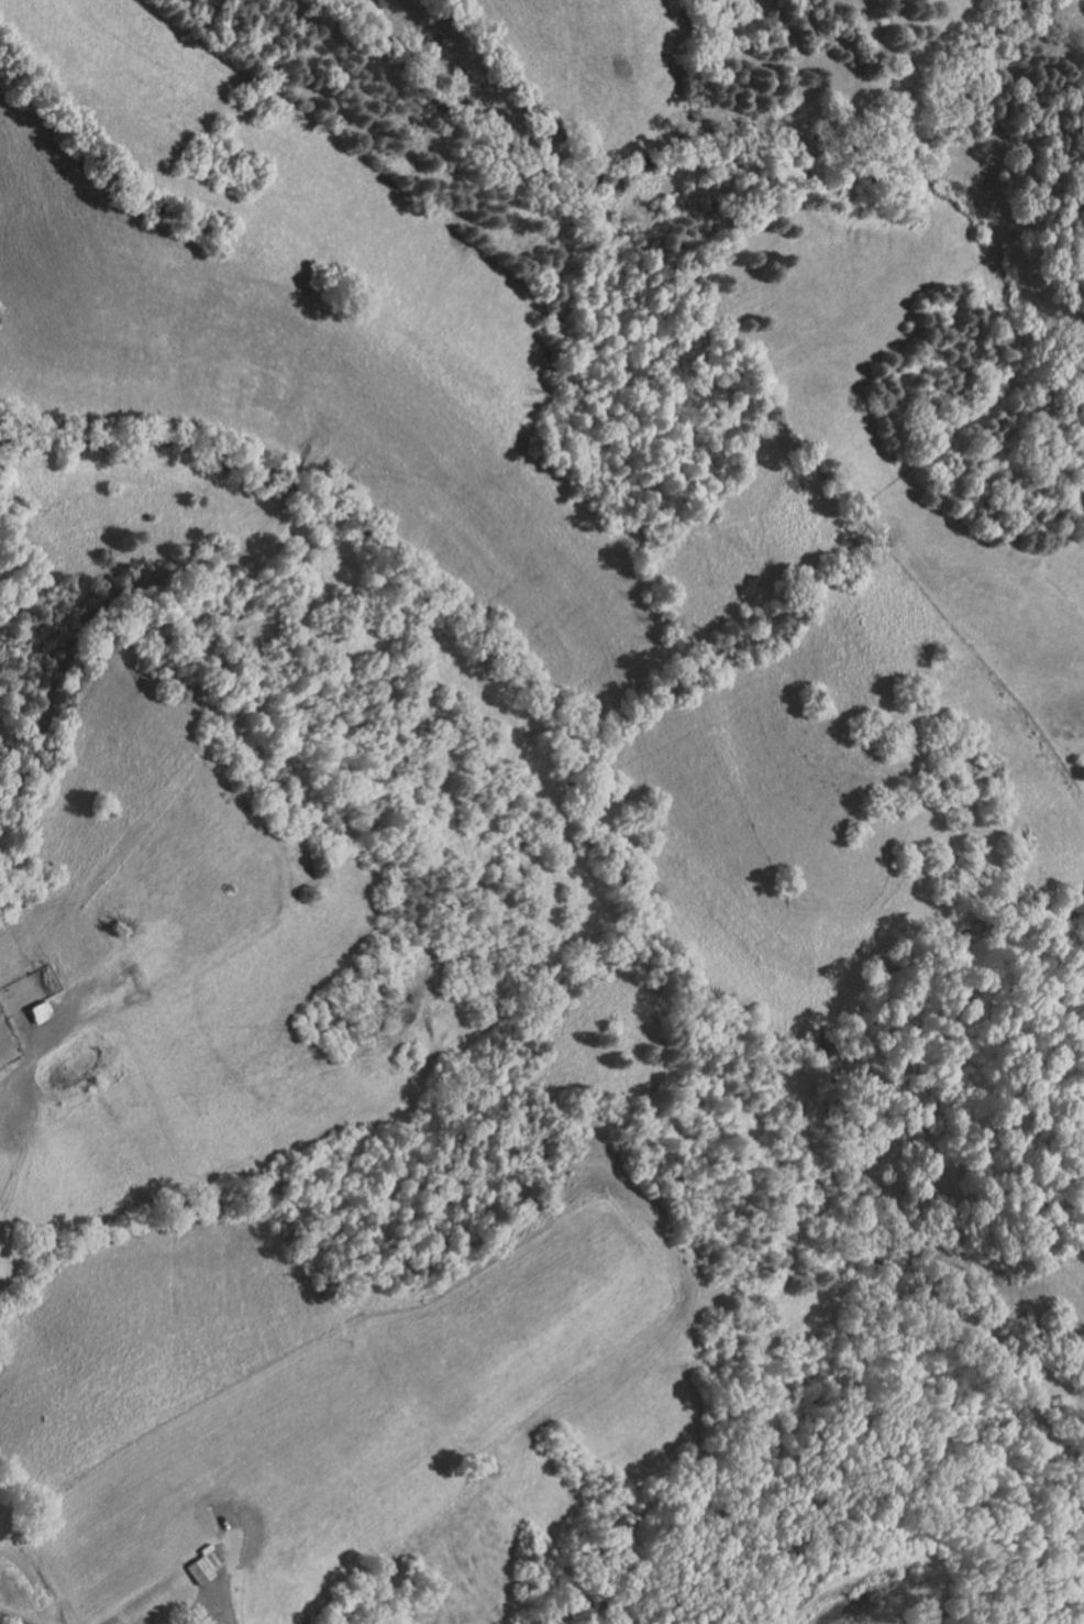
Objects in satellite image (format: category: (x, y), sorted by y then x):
building: (36, 1010)
building: (203, 1562)
road: (226, 1592)
road: (11, 1618)
building: (916, 1620)

